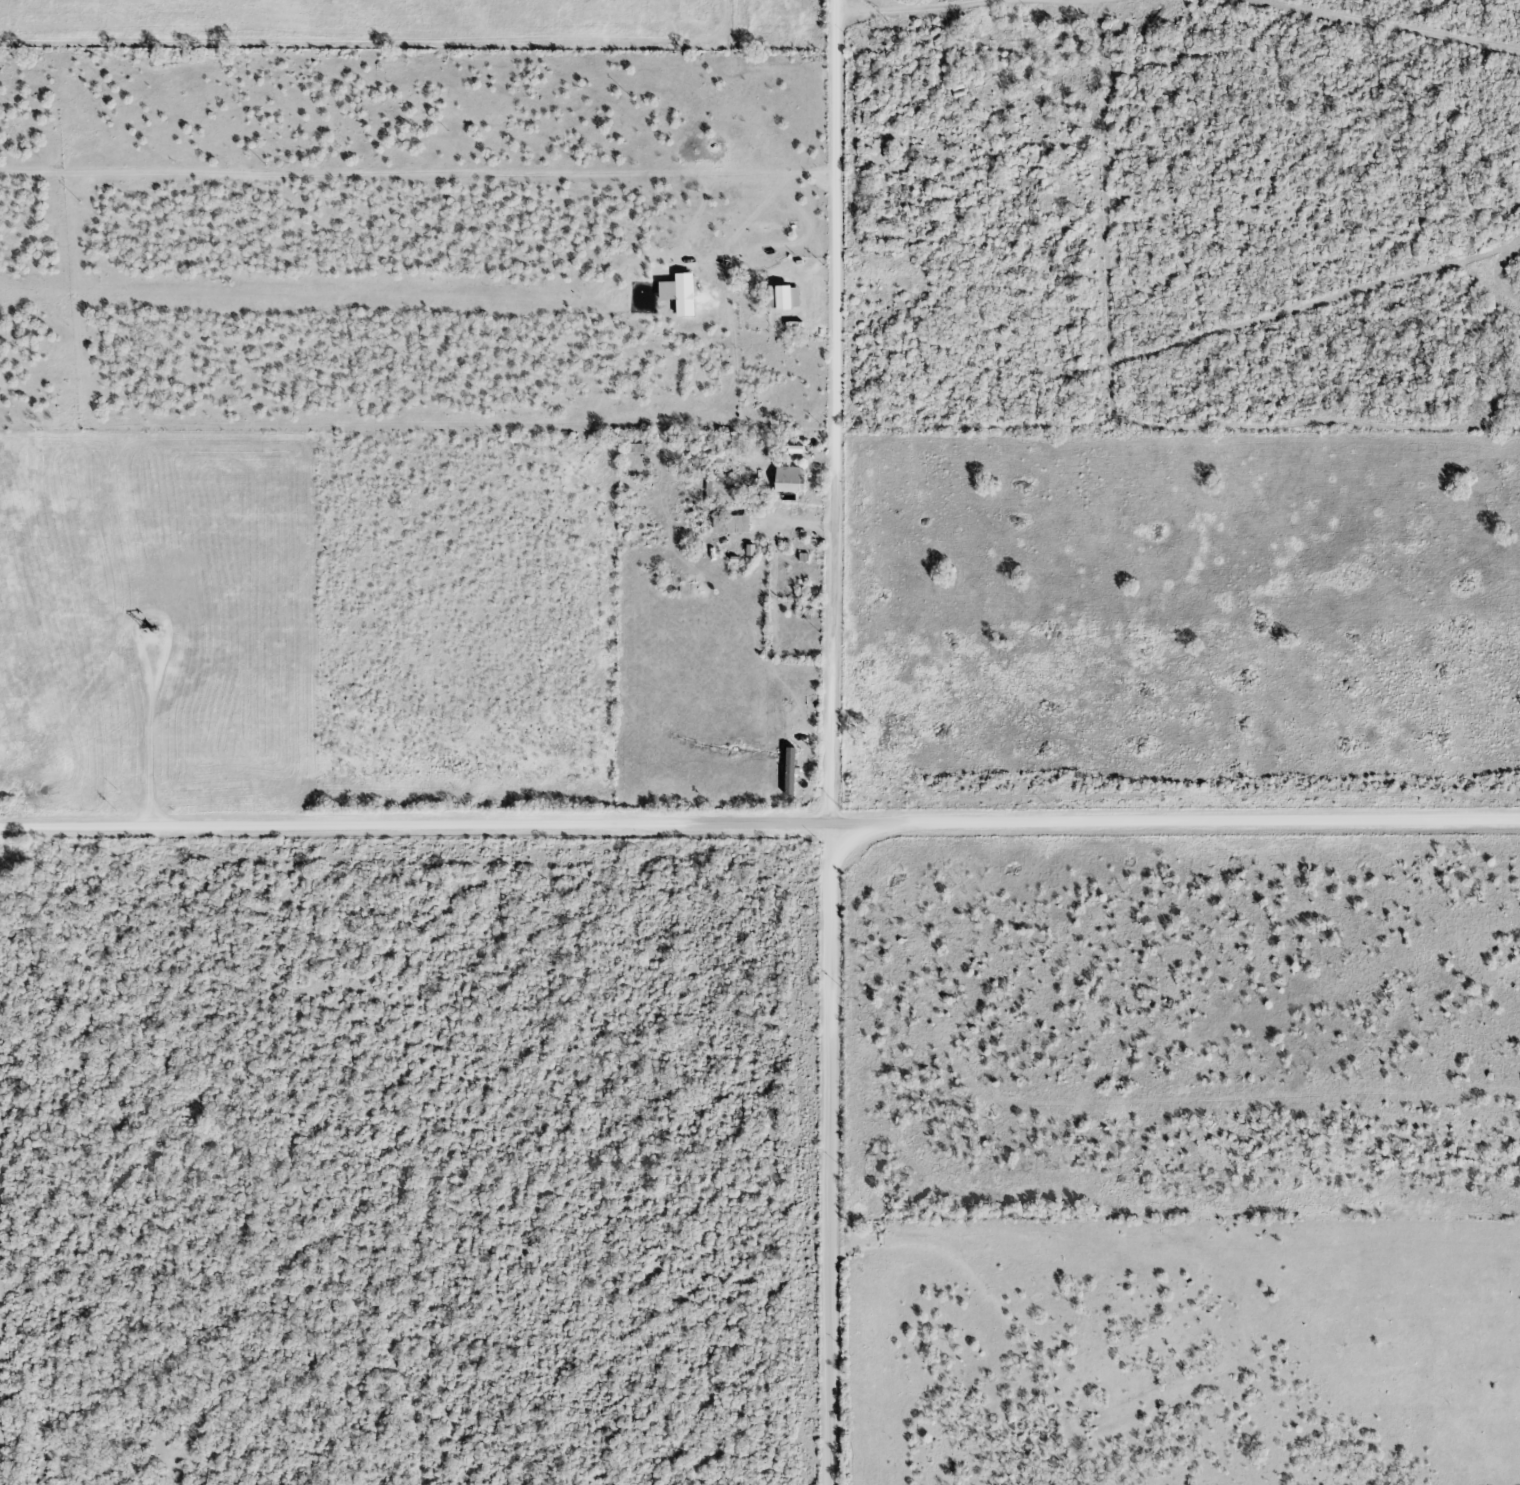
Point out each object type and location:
building: (957, 90)
building: (682, 294)
building: (783, 295)
building: (786, 478)
building: (730, 523)
road: (153, 686)
road: (830, 742)
road: (760, 825)

